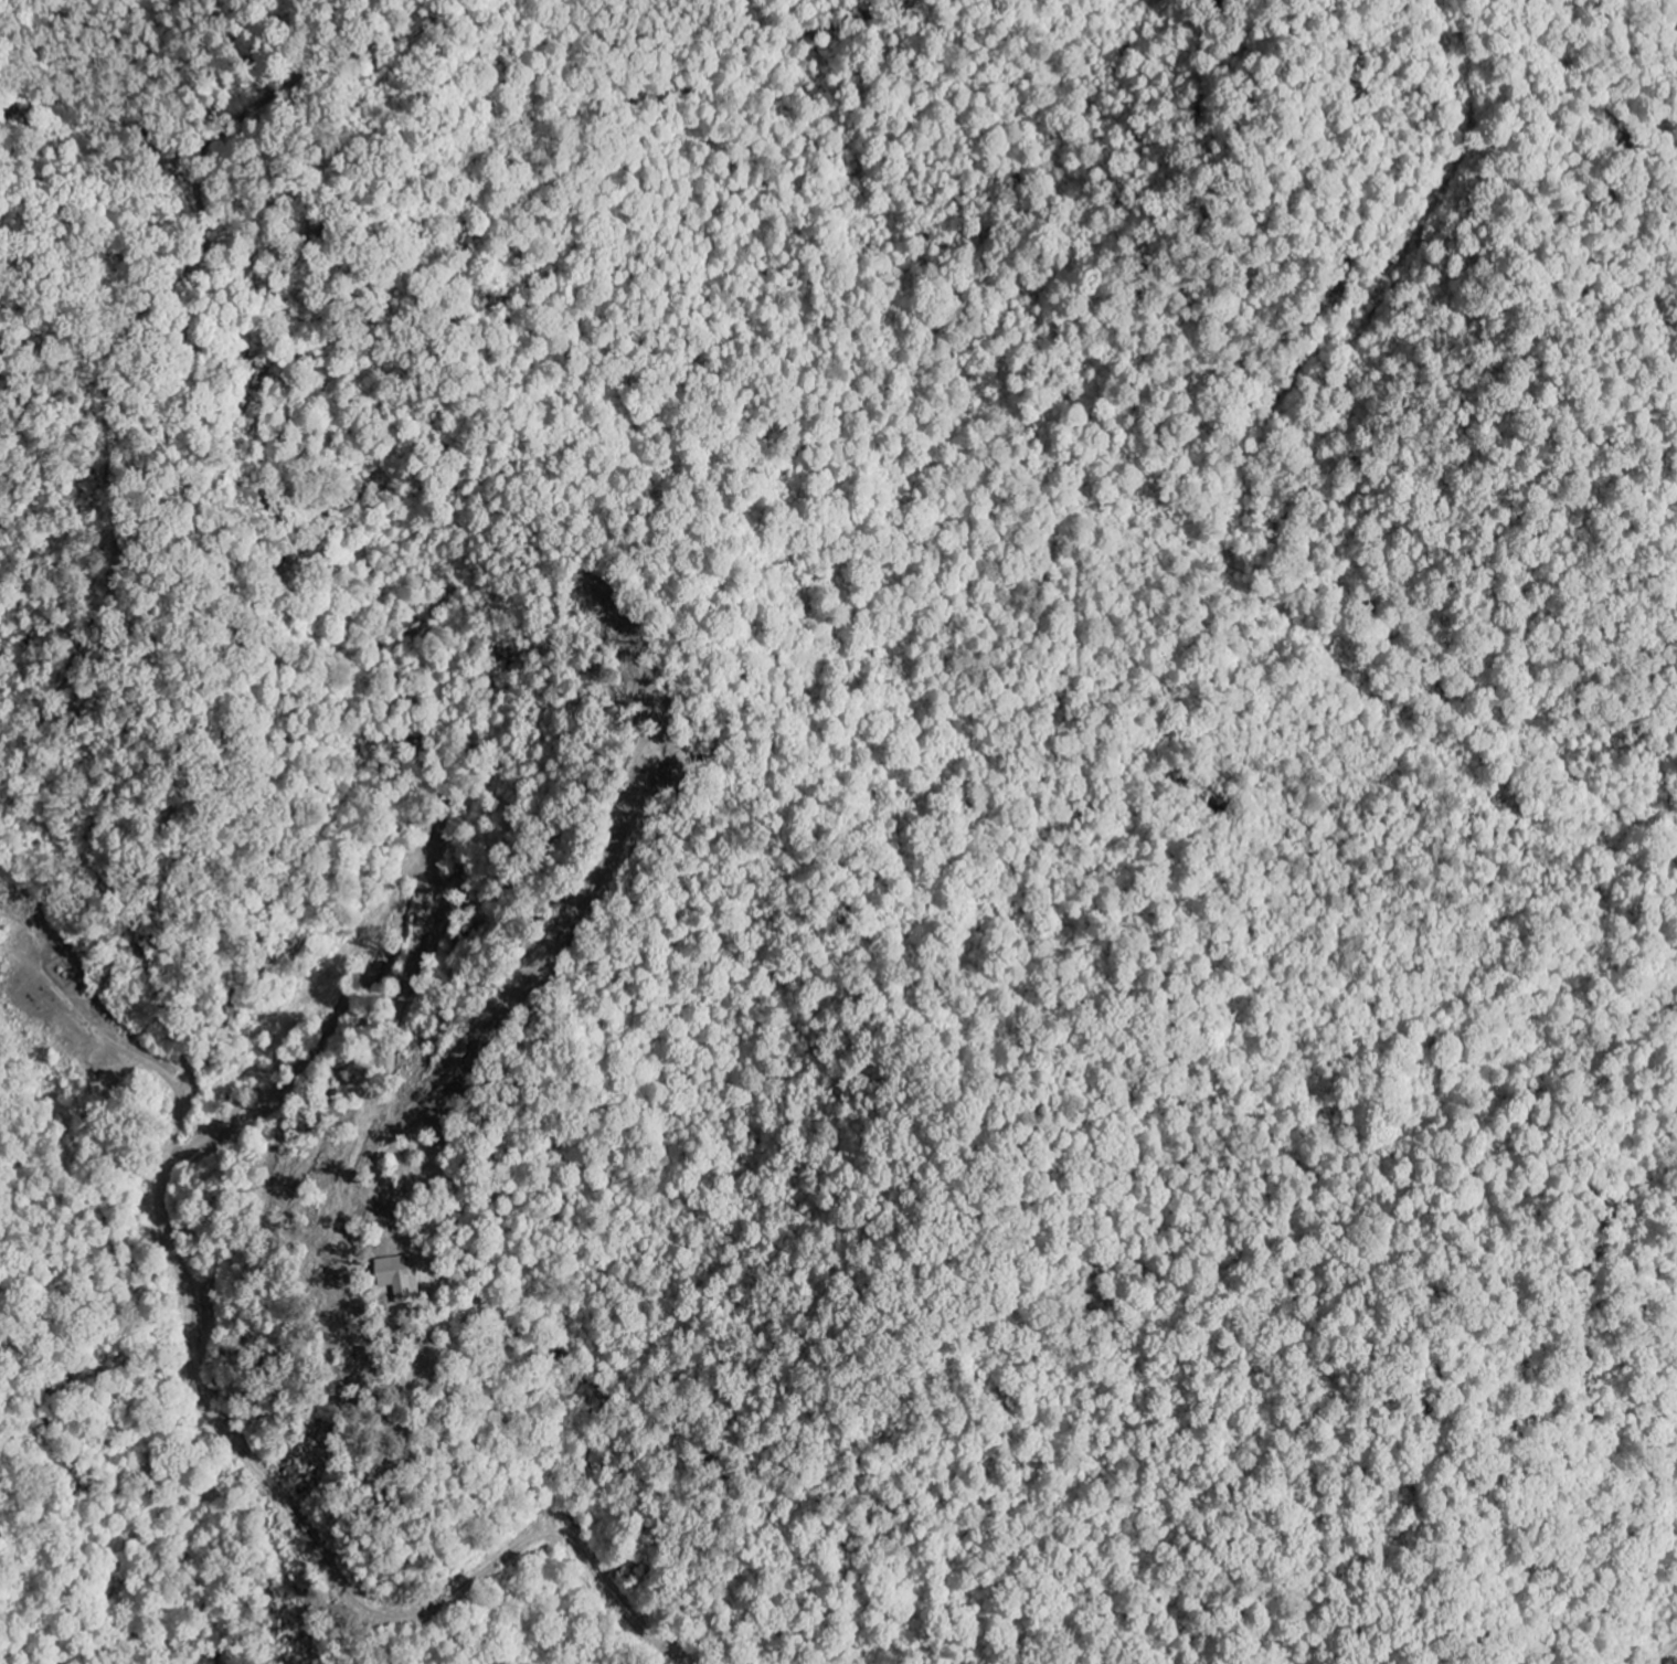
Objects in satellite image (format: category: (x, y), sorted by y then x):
building: (400, 1278)

